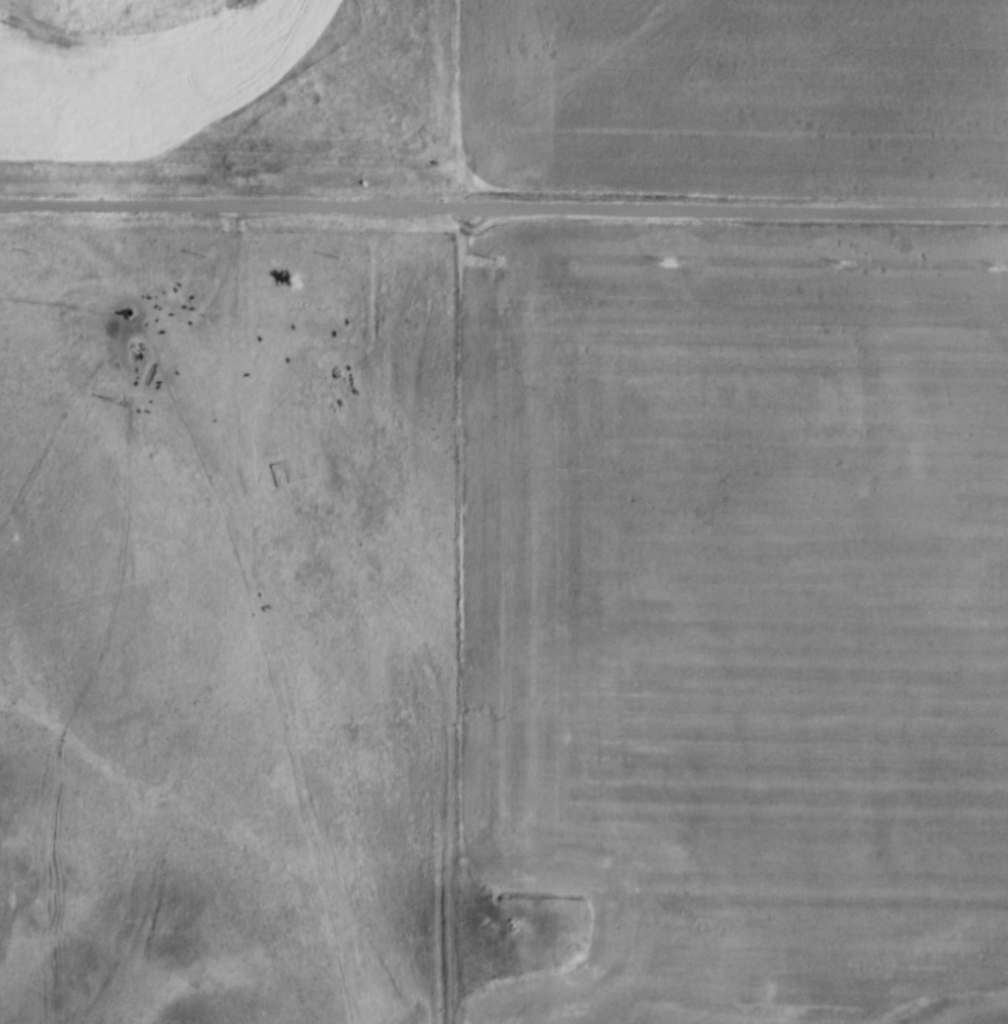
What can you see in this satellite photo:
road: (503, 206)

